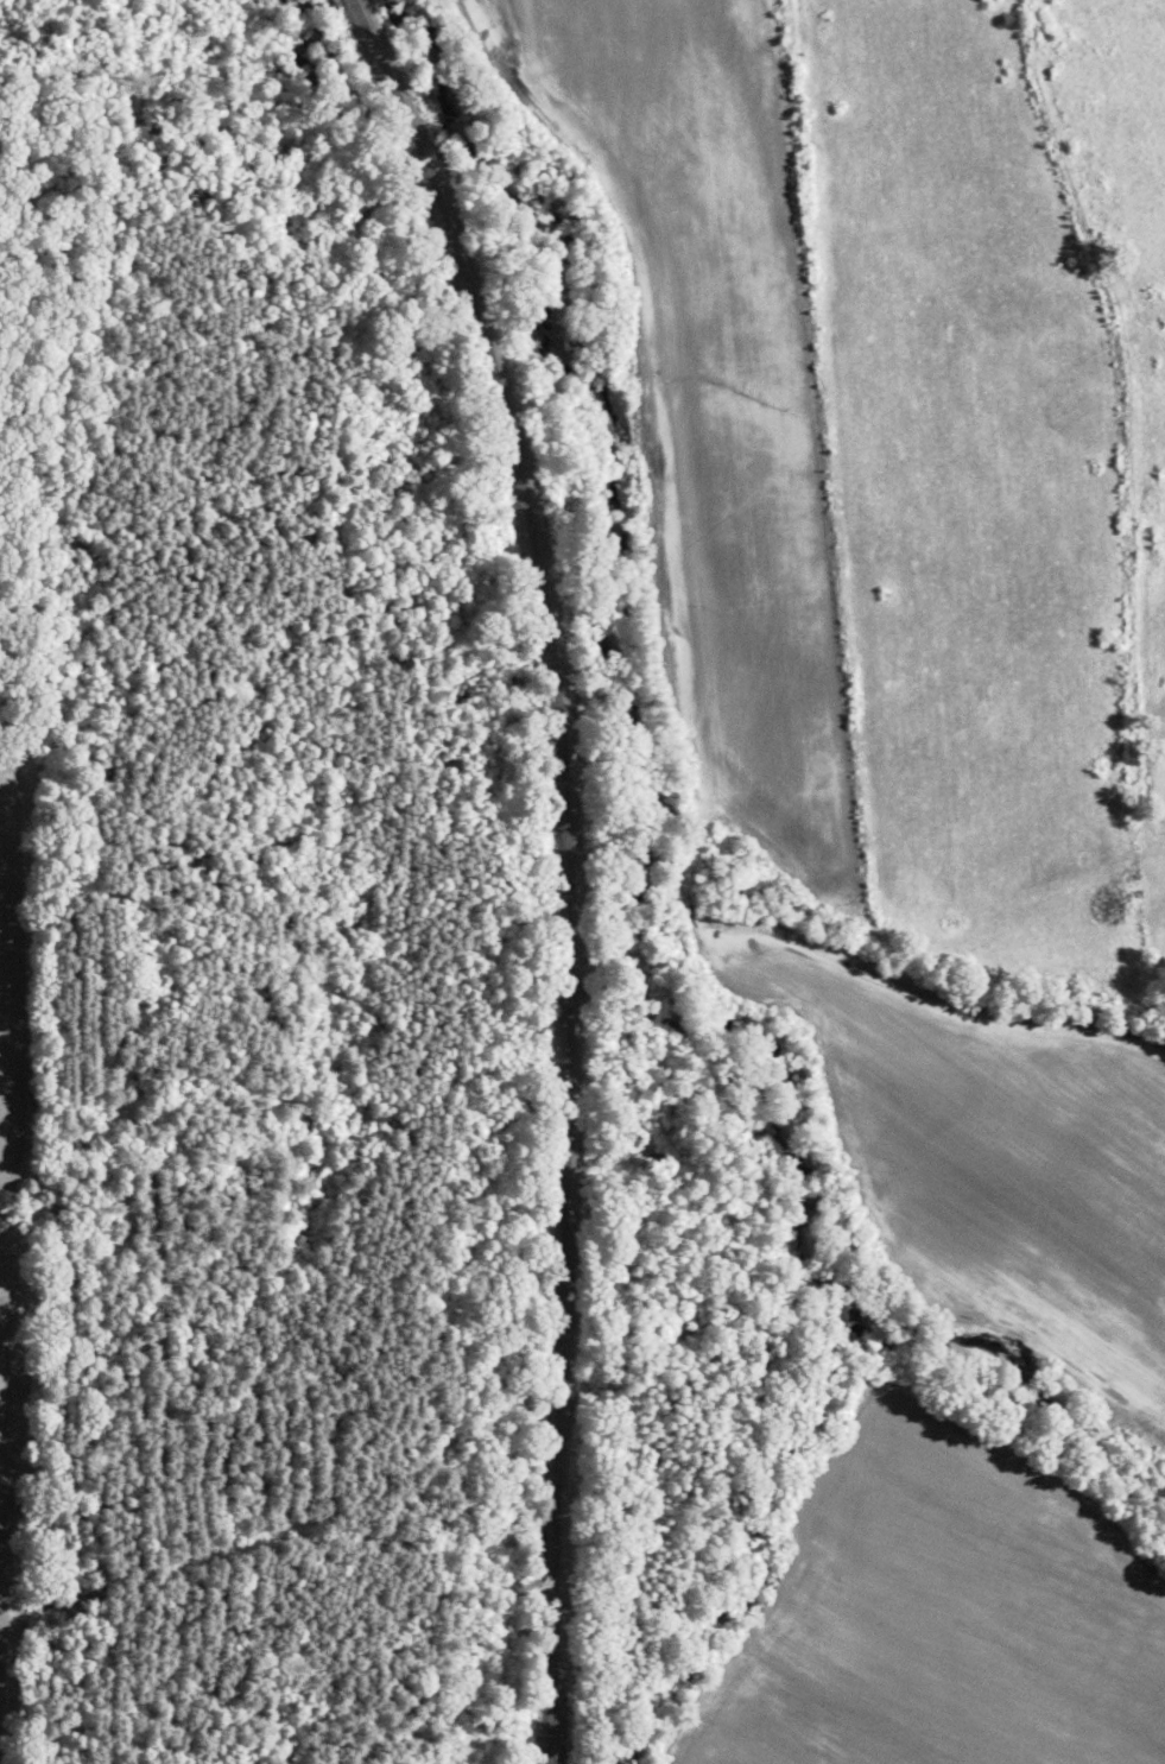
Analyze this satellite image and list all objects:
railway: (565, 865)

